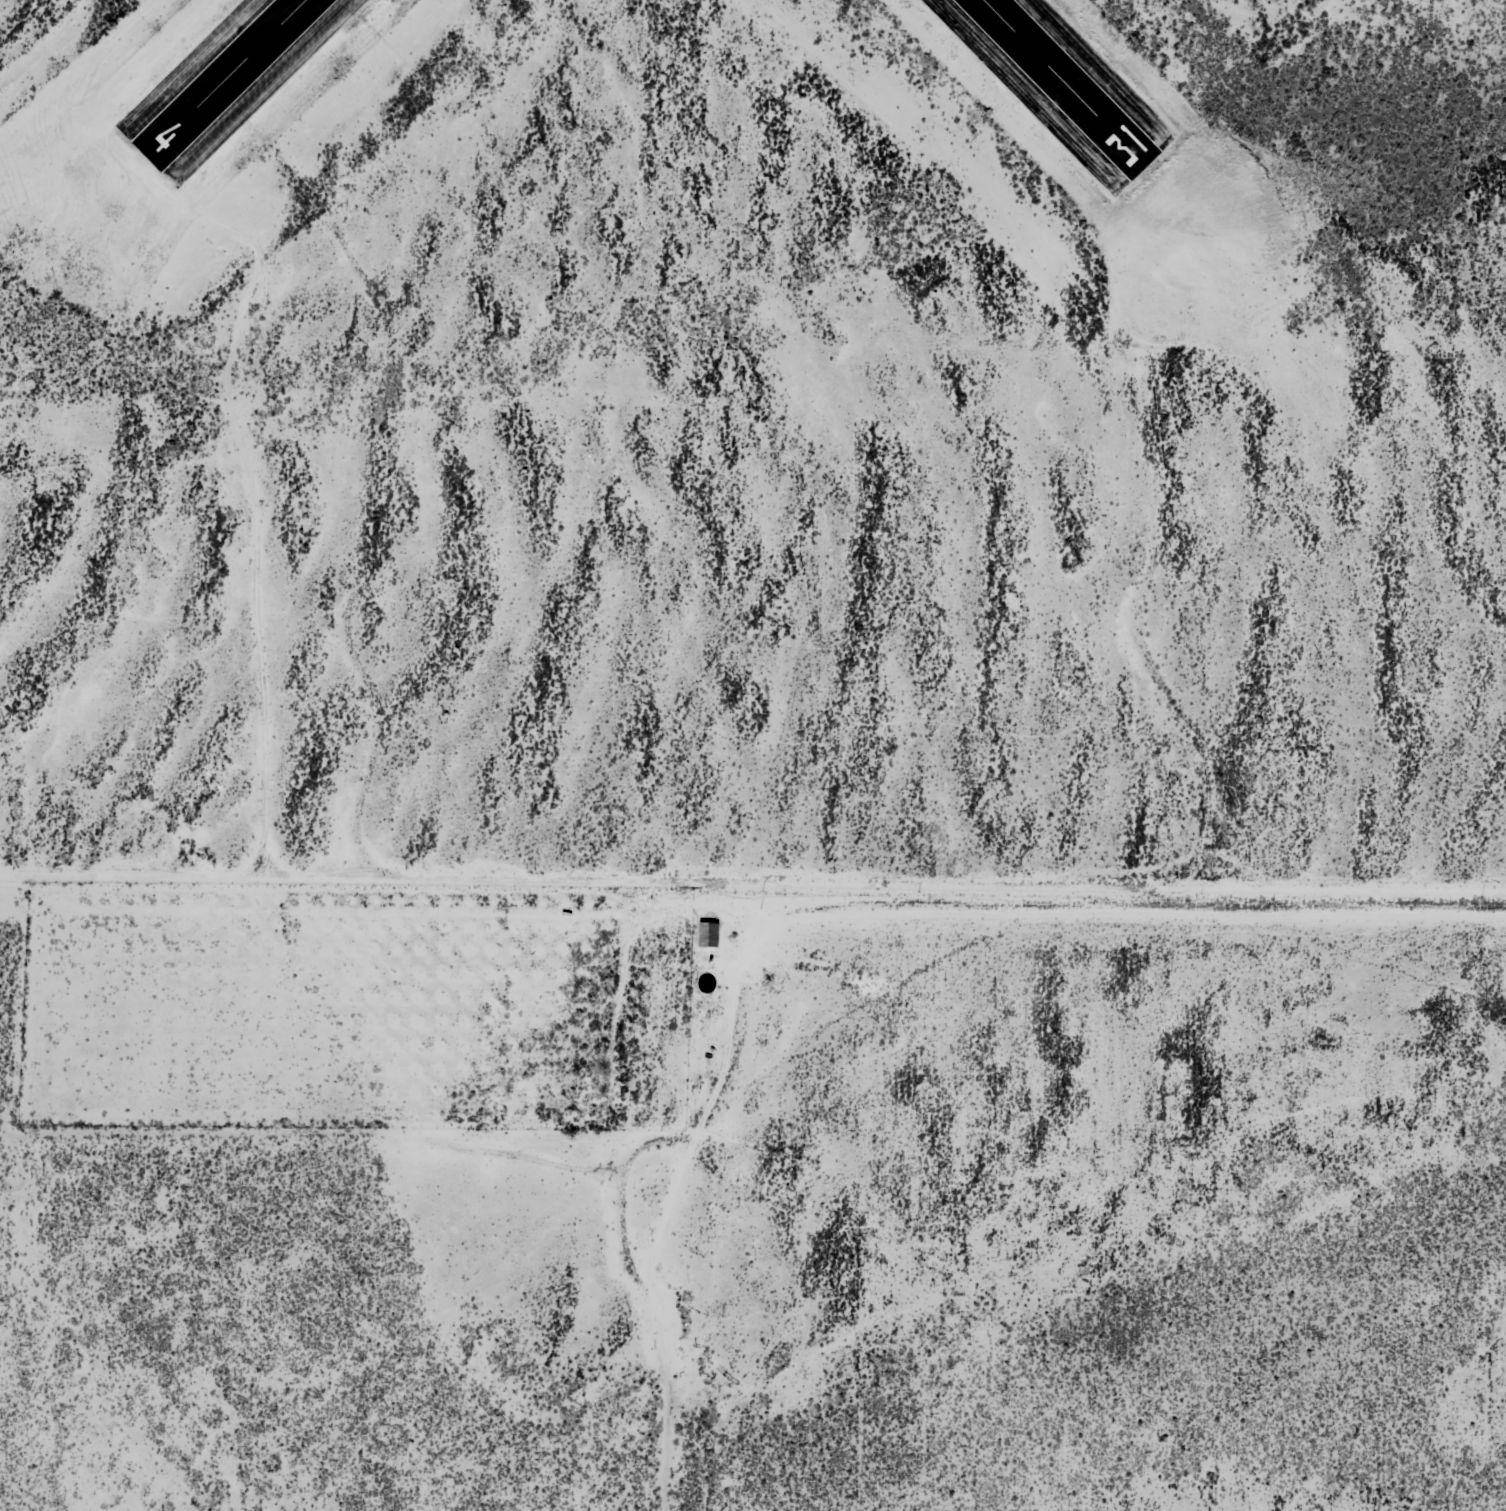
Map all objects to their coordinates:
airport runway: (227, 78)
airport runway: (1064, 84)
road: (753, 926)
building: (707, 935)

